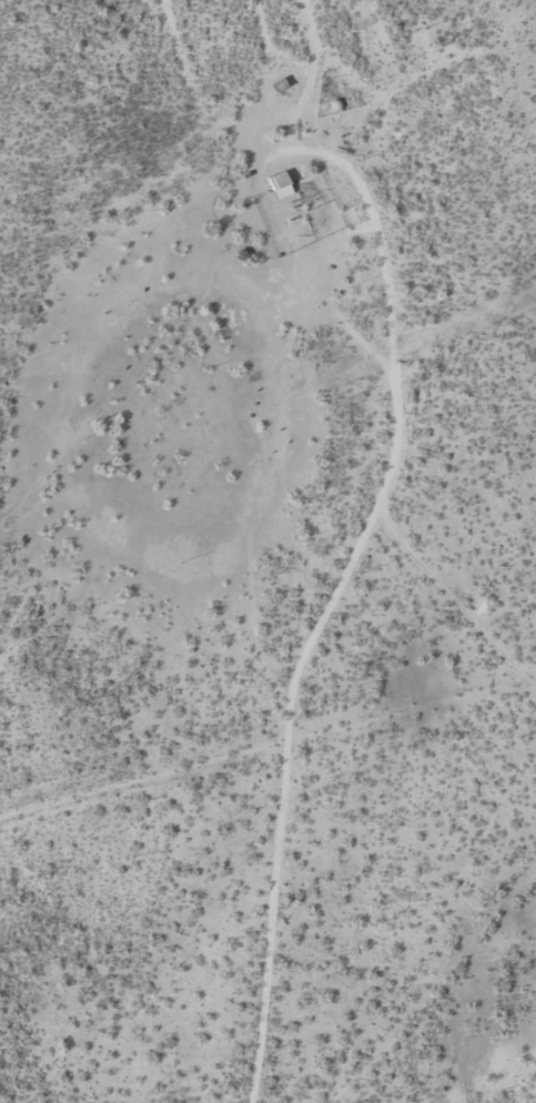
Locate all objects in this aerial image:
road: (368, 548)

